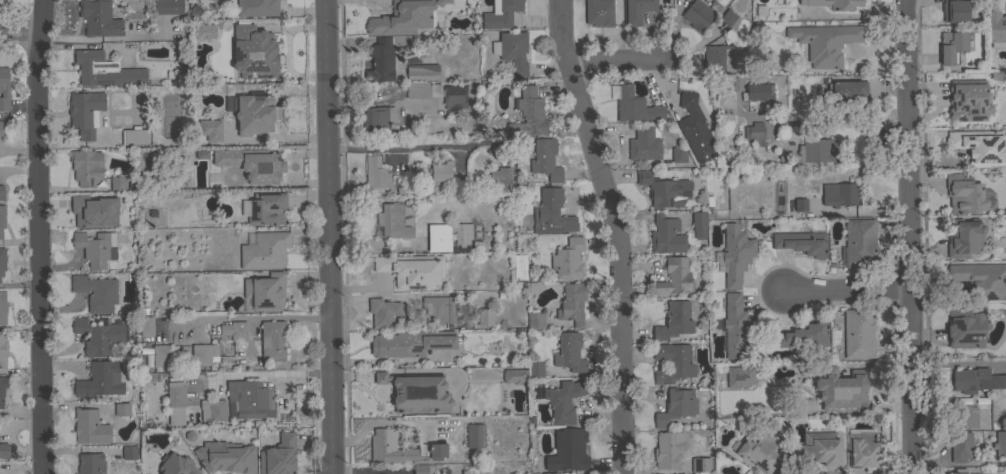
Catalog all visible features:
building: (6, 0)
building: (834, 4)
building: (1005, 4)
building: (168, 6)
building: (257, 7)
road: (557, 9)
building: (638, 10)
building: (955, 11)
building: (599, 12)
building: (500, 14)
building: (697, 17)
building: (99, 18)
building: (403, 18)
building: (728, 20)
building: (132, 26)
building: (996, 29)
building: (205, 31)
road: (100, 37)
building: (825, 42)
road: (18, 43)
building: (953, 48)
building: (512, 50)
building: (182, 51)
building: (256, 52)
road: (619, 59)
building: (718, 59)
building: (381, 60)
building: (105, 69)
building: (423, 71)
building: (4, 88)
building: (423, 89)
building: (757, 91)
building: (844, 94)
building: (455, 96)
building: (968, 100)
road: (382, 102)
building: (224, 104)
building: (636, 106)
building: (84, 112)
building: (256, 114)
building: (527, 115)
building: (379, 118)
road: (823, 123)
building: (1, 128)
building: (693, 128)
building: (211, 129)
building: (755, 133)
building: (135, 137)
building: (644, 144)
building: (980, 146)
road: (385, 148)
building: (811, 152)
building: (679, 154)
building: (546, 159)
building: (253, 163)
building: (86, 167)
building: (441, 171)
building: (376, 173)
building: (500, 176)
building: (118, 183)
building: (665, 190)
building: (1, 192)
building: (841, 194)
building: (964, 194)
building: (801, 204)
building: (268, 208)
building: (85, 210)
building: (552, 213)
building: (2, 219)
building: (127, 219)
building: (394, 220)
building: (700, 223)
building: (463, 233)
building: (666, 235)
road: (36, 236)
road: (912, 236)
road: (329, 237)
building: (439, 237)
building: (965, 237)
road: (617, 242)
building: (802, 242)
building: (860, 243)
building: (96, 248)
building: (265, 250)
building: (736, 253)
building: (568, 259)
building: (2, 260)
building: (520, 266)
building: (410, 270)
building: (674, 277)
building: (981, 279)
road: (847, 289)
building: (265, 291)
building: (96, 292)
road: (381, 294)
building: (571, 303)
building: (3, 307)
building: (440, 308)
building: (383, 312)
building: (485, 316)
road: (251, 317)
building: (536, 320)
building: (674, 320)
building: (146, 326)
building: (967, 326)
building: (737, 327)
building: (235, 330)
building: (859, 333)
building: (98, 336)
building: (804, 336)
building: (272, 339)
building: (412, 342)
building: (3, 351)
building: (570, 352)
building: (204, 353)
building: (162, 355)
road: (391, 359)
building: (673, 362)
building: (536, 369)
road: (261, 373)
building: (514, 375)
building: (740, 376)
building: (101, 379)
building: (976, 380)
building: (2, 389)
building: (843, 390)
building: (417, 392)
building: (176, 396)
building: (250, 397)
building: (564, 400)
building: (676, 406)
building: (122, 409)
building: (214, 410)
building: (964, 416)
building: (90, 426)
building: (475, 435)
building: (1000, 443)
building: (573, 446)
building: (961, 446)
building: (400, 448)
building: (822, 448)
building: (669, 449)
building: (862, 449)
building: (4, 450)
building: (130, 452)
building: (760, 452)
building: (226, 456)
building: (279, 456)
building: (91, 463)
building: (702, 464)
building: (177, 465)
building: (422, 469)
building: (441, 470)
building: (478, 470)
building: (960, 471)

